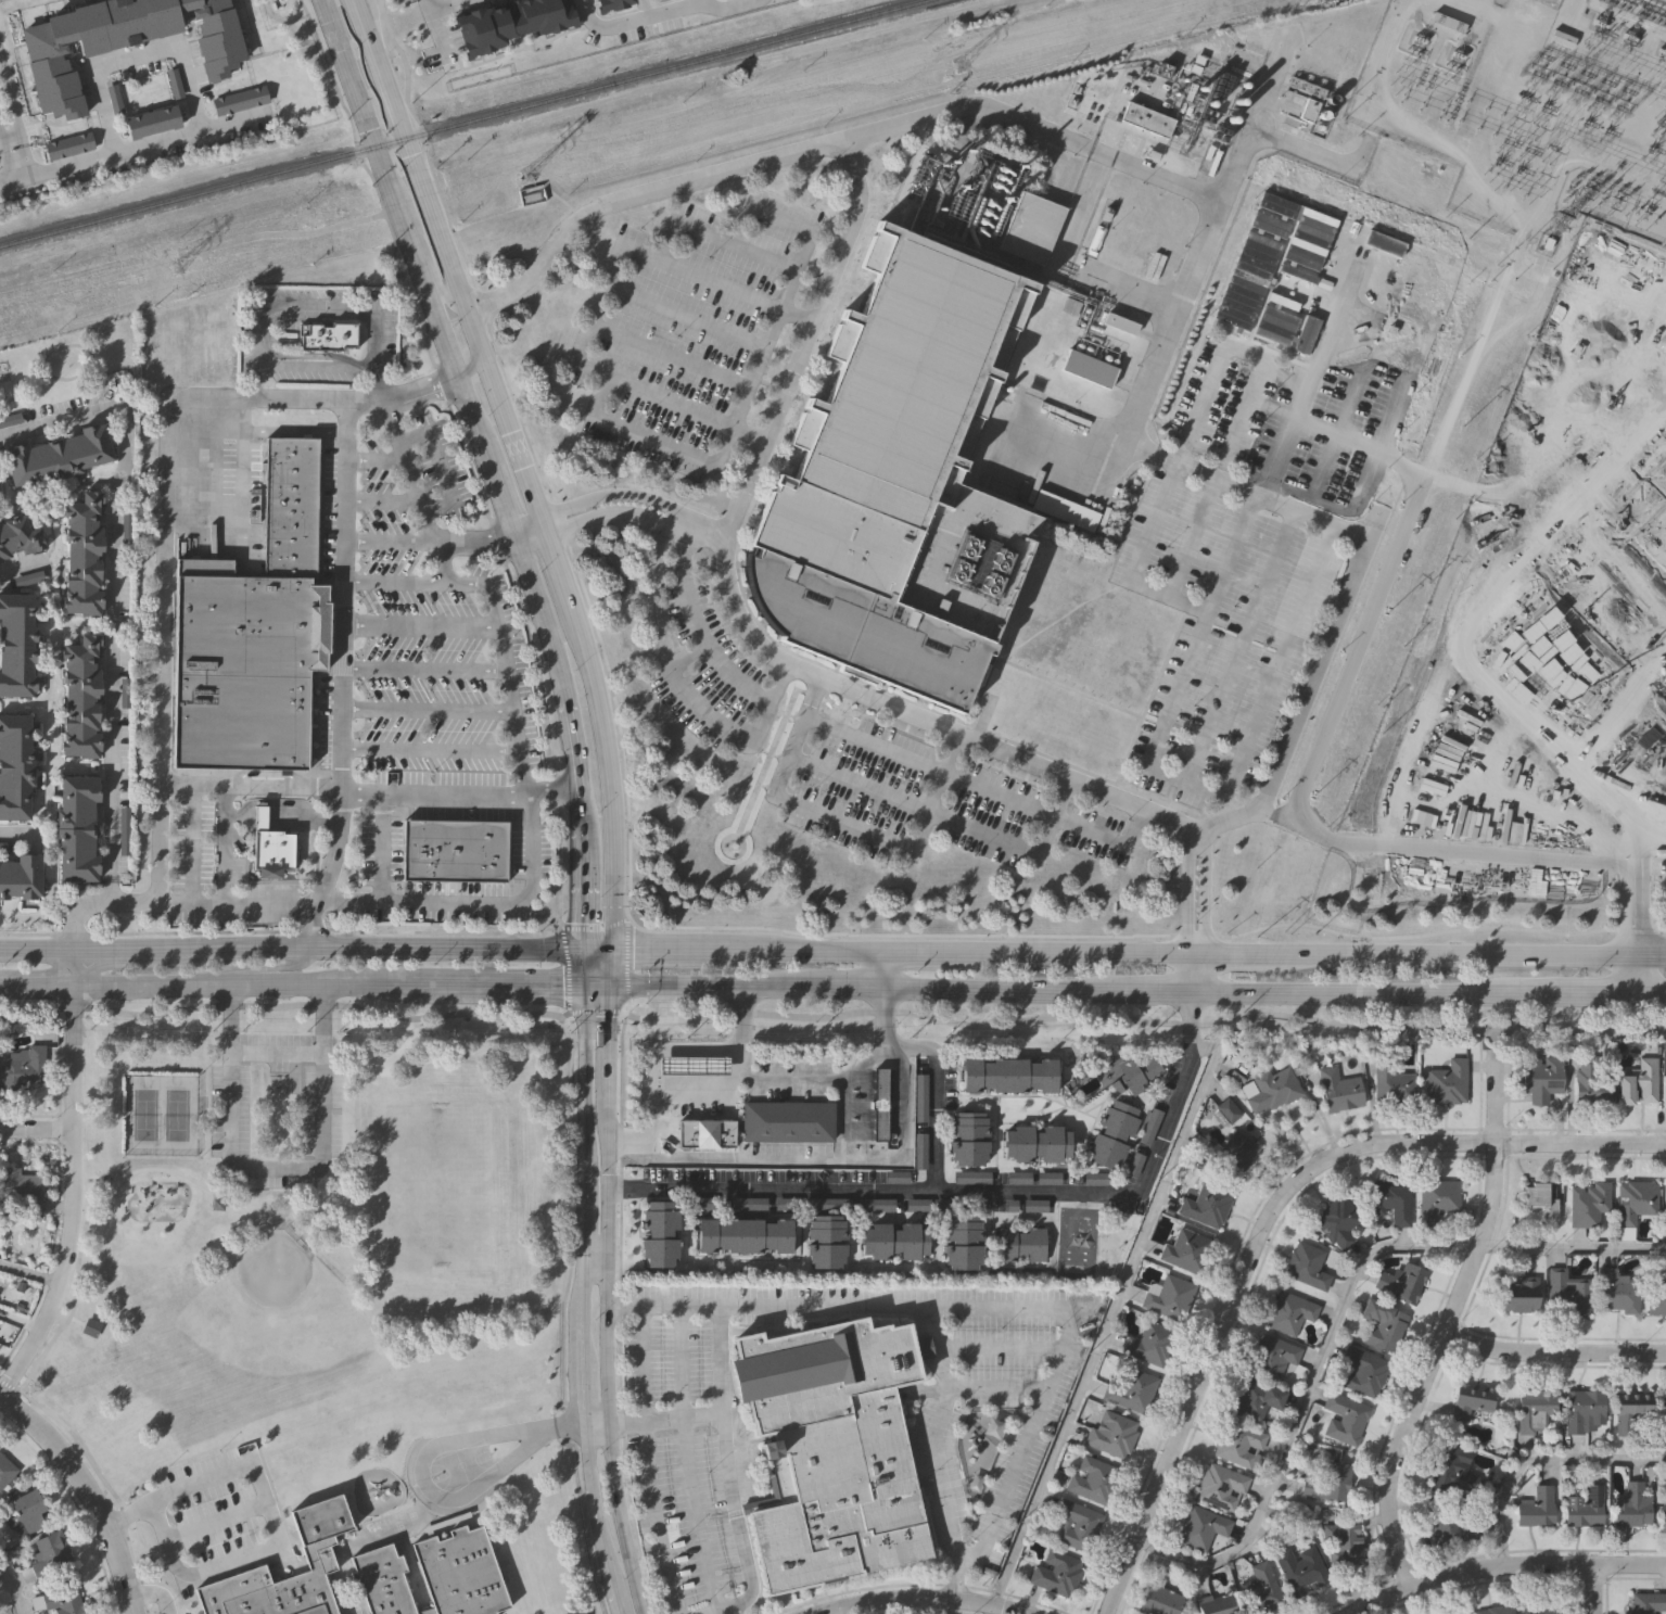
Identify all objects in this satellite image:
road: (0, 0)
building: (610, 4)
road: (442, 7)
road: (729, 7)
road: (637, 18)
building: (512, 24)
road: (442, 36)
building: (1562, 39)
building: (122, 42)
road: (135, 58)
power tower: (956, 68)
power substation: (1533, 99)
building: (239, 101)
road: (10, 105)
building: (1318, 114)
building: (1148, 117)
building: (151, 122)
railway: (465, 125)
road: (10, 137)
road: (2, 141)
road: (1246, 142)
building: (68, 148)
road: (136, 148)
road: (25, 161)
road: (9, 165)
road: (1149, 171)
power tower: (523, 177)
building: (532, 196)
road: (766, 211)
road: (402, 224)
road: (681, 224)
building: (1033, 225)
road: (281, 233)
road: (423, 246)
road: (448, 257)
power tower: (179, 267)
road: (713, 282)
road: (605, 283)
road: (1137, 289)
road: (333, 306)
road: (1385, 312)
road: (683, 315)
road: (1425, 330)
parking lot: (695, 332)
building: (328, 334)
road: (632, 338)
road: (1243, 353)
road: (472, 365)
road: (316, 366)
building: (1090, 366)
road: (1285, 373)
road: (748, 381)
road: (257, 382)
road: (594, 412)
road: (771, 414)
building: (11, 419)
road: (527, 432)
road: (1333, 434)
road: (1627, 437)
road: (1082, 450)
building: (59, 453)
road: (466, 454)
road: (1658, 454)
road: (378, 460)
road: (442, 466)
road: (411, 471)
building: (900, 478)
road: (497, 491)
road: (1409, 495)
road: (598, 497)
road: (167, 501)
road: (384, 501)
building: (290, 506)
road: (599, 514)
road: (547, 522)
road: (686, 522)
road: (707, 526)
building: (17, 534)
road: (703, 534)
road: (1192, 536)
road: (1599, 536)
parking lot: (1635, 541)
road: (391, 543)
road: (475, 543)
road: (1549, 545)
building: (84, 552)
road: (1137, 559)
road: (442, 562)
road: (565, 580)
road: (416, 581)
parking lot: (1226, 586)
road: (107, 597)
road: (1341, 601)
road: (541, 609)
road: (344, 619)
parking lot: (416, 624)
road: (422, 625)
building: (17, 645)
road: (1237, 647)
road: (708, 649)
building: (244, 665)
road: (427, 669)
building: (81, 698)
parking lot: (704, 703)
road: (429, 710)
road: (701, 712)
road: (574, 737)
road: (873, 744)
road: (432, 750)
building: (15, 765)
road: (266, 774)
road: (1181, 781)
road: (857, 784)
road: (317, 785)
road: (610, 786)
road: (996, 793)
road: (402, 798)
road: (323, 803)
parking lot: (934, 805)
road: (342, 809)
road: (270, 810)
road: (363, 812)
road: (383, 812)
road: (231, 814)
road: (581, 814)
road: (1050, 815)
road: (268, 818)
road: (322, 818)
road: (841, 822)
road: (268, 826)
building: (124, 827)
building: (77, 828)
road: (981, 833)
road: (1620, 833)
road: (1107, 837)
road: (1458, 842)
building: (4, 844)
road: (193, 846)
road: (226, 846)
building: (269, 847)
building: (455, 847)
parking lot: (530, 849)
road: (1636, 850)
road: (1645, 850)
road: (317, 866)
road: (162, 875)
building: (21, 877)
parking lot: (220, 878)
road: (1184, 890)
road: (1205, 890)
road: (583, 893)
road: (507, 906)
road: (628, 918)
road: (626, 923)
road: (279, 932)
road: (1167, 935)
road: (1633, 943)
road: (376, 945)
traffic signals: (582, 946)
road: (598, 946)
traffic signals: (614, 946)
road: (660, 946)
road: (727, 946)
road: (36, 948)
road: (120, 948)
road: (817, 948)
road: (927, 949)
road: (1080, 950)
road: (1230, 952)
road: (1450, 953)
road: (1650, 955)
road: (120, 962)
road: (72, 965)
road: (581, 965)
road: (613, 965)
road: (268, 968)
road: (567, 968)
road: (888, 968)
road: (40, 971)
road: (1194, 971)
road: (1633, 975)
road: (36, 982)
road: (232, 982)
road: (486, 982)
traffic signals: (581, 983)
road: (596, 983)
traffic signals: (612, 983)
road: (710, 986)
road: (849, 987)
road: (997, 989)
road: (1150, 991)
road: (1359, 993)
road: (1579, 995)
road: (1650, 995)
road: (582, 1006)
road: (607, 1008)
park: (30, 1015)
park: (320, 1016)
road: (834, 1016)
road: (888, 1017)
park: (1133, 1017)
road: (1492, 1031)
road: (567, 1035)
road: (1496, 1038)
road: (692, 1050)
road: (272, 1051)
building: (24, 1065)
road: (606, 1066)
building: (694, 1070)
parking lot: (794, 1072)
building: (1136, 1072)
building: (1010, 1075)
building: (1541, 1079)
building: (1590, 1079)
road: (777, 1082)
building: (1390, 1082)
building: (1447, 1082)
building: (1639, 1083)
parking lot: (1172, 1084)
building: (277, 1085)
building: (1338, 1090)
building: (1271, 1091)
parking lot: (786, 1094)
building: (919, 1095)
gas station: (678, 1096)
building: (695, 1097)
road: (700, 1097)
road: (939, 1100)
building: (881, 1102)
road: (944, 1102)
road: (1025, 1102)
road: (1092, 1107)
road: (1097, 1109)
building: (1226, 1109)
parking lot: (276, 1113)
road: (1152, 1113)
road: (648, 1115)
park: (162, 1116)
building: (789, 1119)
park: (1077, 1121)
road: (1034, 1123)
building: (1149, 1126)
road: (37, 1130)
road: (1000, 1134)
road: (583, 1136)
building: (1114, 1136)
building: (969, 1139)
building: (689, 1142)
road: (606, 1143)
building: (1035, 1143)
building: (919, 1147)
building: (1230, 1152)
parking lot: (787, 1154)
road: (272, 1166)
building: (974, 1173)
road: (1079, 1179)
building: (971, 1180)
road: (196, 1182)
road: (1000, 1182)
building: (22, 1191)
park: (444, 1193)
road: (72, 1195)
road: (978, 1195)
building: (1436, 1198)
building: (1539, 1198)
building: (1635, 1199)
building: (1390, 1200)
building: (1587, 1203)
building: (1665, 1203)
building: (218, 1205)
building: (874, 1205)
building: (1205, 1205)
road: (606, 1216)
road: (1267, 1217)
building: (1336, 1221)
park: (298, 1224)
road: (571, 1225)
building: (661, 1231)
road: (1055, 1232)
building: (747, 1233)
building: (828, 1238)
building: (893, 1240)
building: (965, 1240)
park: (1076, 1240)
building: (1022, 1242)
road: (593, 1243)
building: (1185, 1250)
road: (993, 1261)
road: (783, 1264)
building: (1306, 1266)
road: (936, 1271)
road: (29, 1272)
park: (275, 1280)
building: (1400, 1281)
building: (1616, 1291)
building: (1567, 1292)
building: (1518, 1293)
building: (1167, 1297)
building: (1655, 1297)
parking lot: (786, 1299)
road: (620, 1308)
building: (1288, 1312)
road: (1337, 1313)
road: (1452, 1319)
road: (76, 1321)
building: (1381, 1323)
building: (89, 1326)
road: (600, 1332)
road: (1102, 1332)
road: (578, 1333)
building: (1148, 1343)
road: (1001, 1349)
road: (939, 1350)
road: (1555, 1352)
building: (1271, 1355)
road: (684, 1361)
parking lot: (672, 1362)
road: (646, 1363)
building: (825, 1370)
building: (1363, 1370)
road: (1053, 1375)
road: (9, 1385)
parking lot: (1015, 1389)
building: (1131, 1390)
road: (996, 1393)
building: (1254, 1398)
building: (1468, 1399)
building: (1662, 1410)
road: (721, 1412)
building: (1537, 1412)
building: (1584, 1412)
road: (684, 1413)
building: (1632, 1415)
building: (1344, 1418)
road: (624, 1419)
road: (565, 1422)
road: (590, 1422)
road: (557, 1428)
building: (1665, 1434)
building: (1111, 1436)
road: (465, 1439)
road: (78, 1441)
building: (1239, 1445)
street lamp: (219, 1449)
road: (1536, 1459)
park: (461, 1466)
building: (1448, 1467)
street lamp: (166, 1469)
building: (5, 1474)
parking lot: (940, 1474)
parking lot: (749, 1477)
building: (1092, 1479)
building: (1330, 1482)
road: (484, 1484)
road: (271, 1485)
building: (1220, 1486)
road: (88, 1491)
building: (841, 1496)
road: (592, 1503)
building: (1631, 1503)
building: (1535, 1507)
road: (476, 1508)
building: (1582, 1509)
building: (26, 1512)
road: (270, 1514)
road: (699, 1514)
parking lot: (211, 1515)
road: (661, 1515)
building: (1664, 1515)
road: (618, 1517)
road: (442, 1518)
road: (450, 1518)
parking lot: (687, 1520)
road: (123, 1521)
road: (216, 1522)
building: (445, 1522)
road: (269, 1524)
road: (585, 1524)
building: (1077, 1525)
building: (1450, 1526)
building: (1200, 1527)
road: (425, 1528)
road: (289, 1538)
street lamp: (414, 1539)
building: (1340, 1541)
street lamp: (222, 1542)
building: (318, 1553)
road: (131, 1555)
building: (50, 1556)
road: (1504, 1565)
building: (1299, 1568)
road: (233, 1571)
building: (1055, 1573)
building: (434, 1575)
road: (165, 1587)
road: (11, 1588)
building: (1259, 1589)
road: (1594, 1589)
road: (140, 1592)
road: (154, 1593)
road: (192, 1599)
road: (611, 1599)
road: (924, 1599)
building: (1157, 1600)
building: (59, 1601)
building: (1214, 1603)
building: (1648, 1603)
building: (1544, 1609)
road: (147, 1610)
building: (1492, 1610)
building: (2, 1613)
street lamp: (157, 1613)
road: (734, 1613)
building: (1455, 1613)

